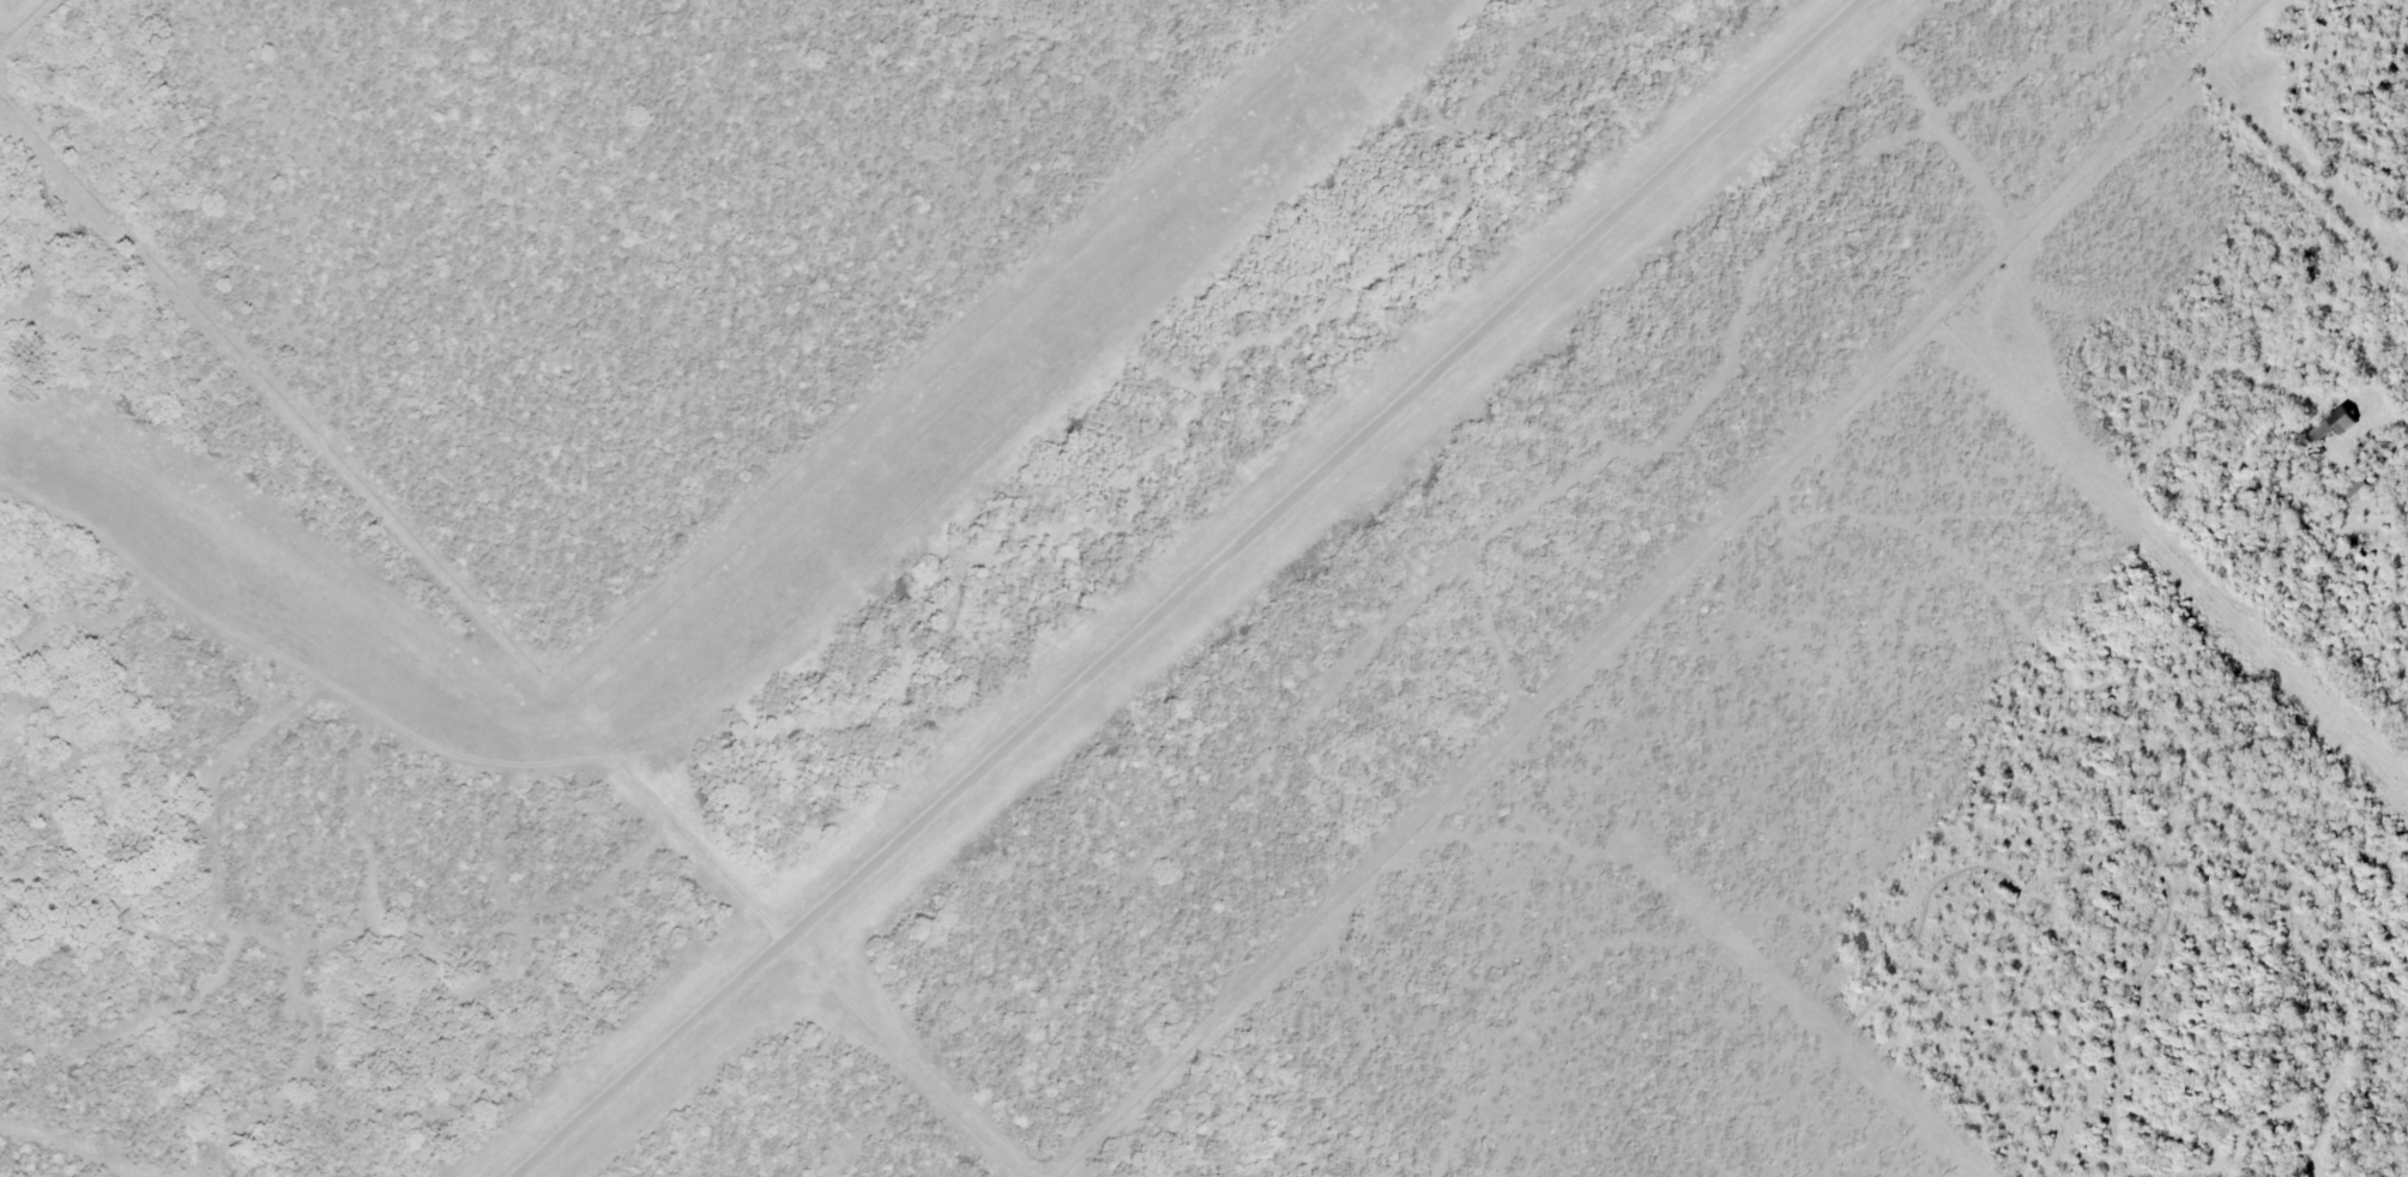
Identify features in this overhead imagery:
road: (2391, 410)
building: (2329, 427)
building: (2352, 489)
road: (1196, 591)
road: (936, 1086)

